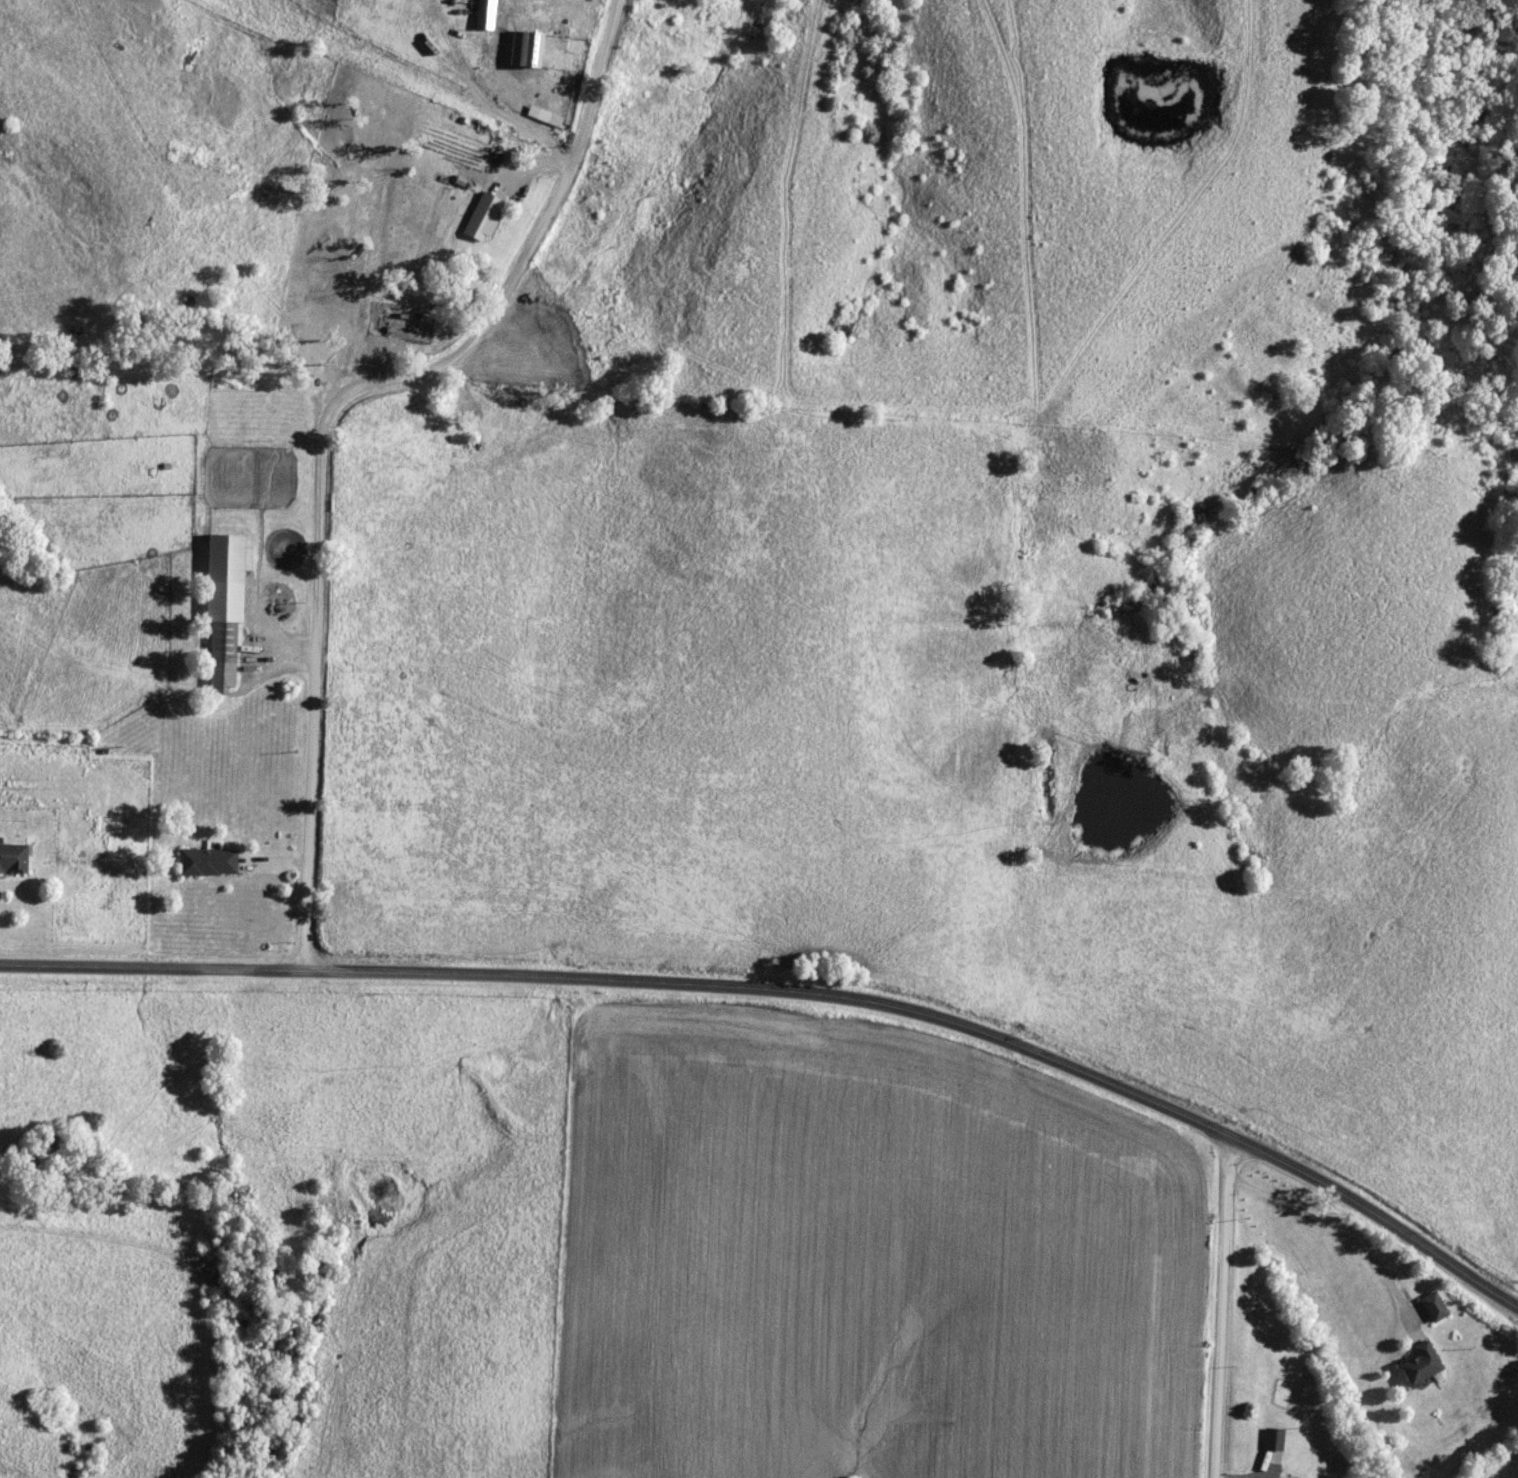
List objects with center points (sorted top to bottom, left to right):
building: (449, 4)
building: (483, 14)
building: (523, 49)
building: (451, 57)
building: (484, 90)
building: (542, 116)
building: (393, 321)
road: (323, 422)
building: (221, 607)
building: (11, 858)
building: (206, 863)
road: (795, 992)
road: (1216, 1306)
building: (1432, 1308)
building: (1419, 1365)
building: (1271, 1439)
building: (1295, 1477)

